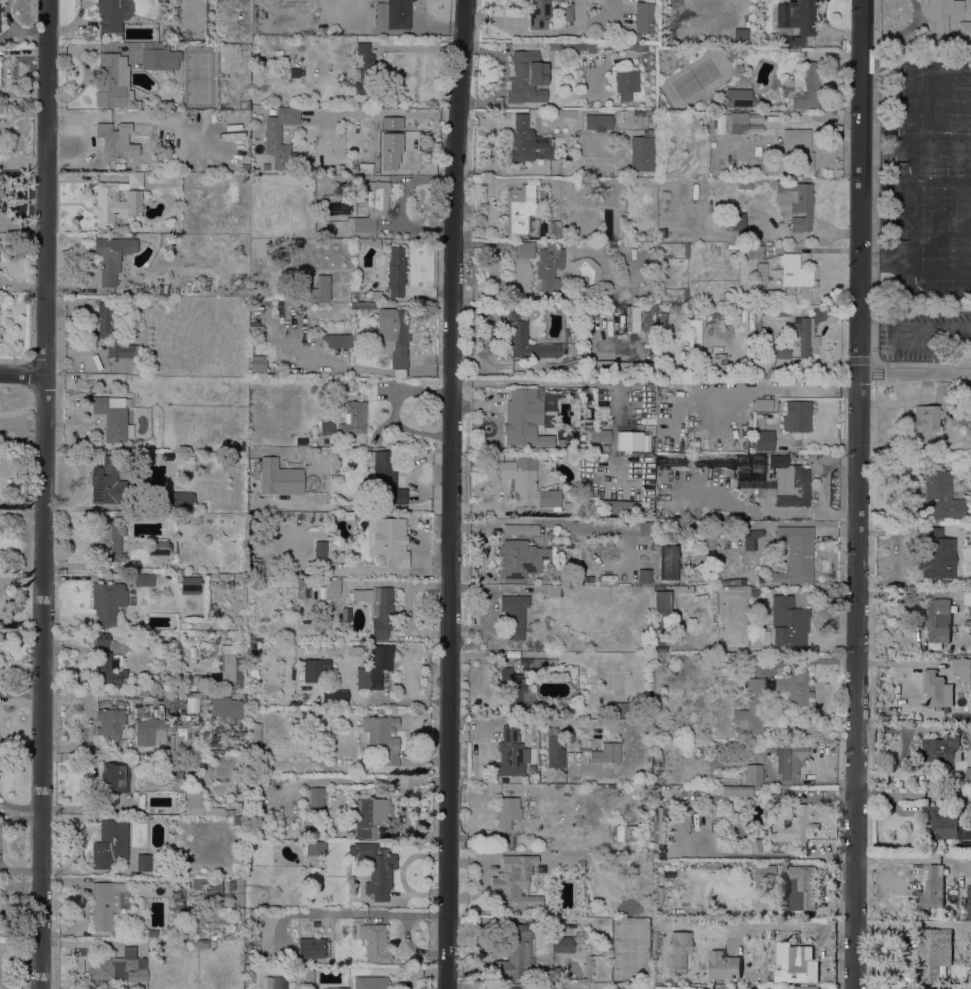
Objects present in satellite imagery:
building: (943, 12)
building: (538, 13)
building: (393, 14)
building: (568, 14)
building: (112, 15)
road: (877, 16)
building: (643, 18)
building: (794, 19)
building: (964, 28)
building: (739, 35)
building: (636, 37)
building: (798, 41)
building: (553, 46)
building: (612, 46)
building: (581, 47)
building: (637, 47)
building: (159, 57)
building: (362, 67)
building: (295, 72)
park: (912, 77)
building: (526, 78)
park: (963, 78)
building: (113, 82)
building: (625, 84)
building: (805, 86)
building: (738, 98)
track: (938, 101)
building: (661, 106)
building: (828, 106)
building: (638, 113)
building: (597, 121)
building: (736, 123)
park: (912, 124)
park: (963, 125)
building: (279, 136)
building: (116, 141)
building: (527, 141)
building: (798, 146)
building: (389, 151)
building: (643, 151)
building: (756, 153)
park: (930, 159)
park: (958, 159)
park: (901, 163)
building: (119, 167)
building: (135, 179)
building: (743, 185)
building: (0, 190)
road: (875, 192)
building: (316, 196)
park: (905, 197)
park: (933, 198)
building: (795, 203)
building: (113, 204)
building: (371, 204)
building: (527, 215)
building: (734, 221)
building: (622, 228)
building: (370, 242)
park: (900, 242)
building: (611, 248)
building: (685, 250)
building: (755, 251)
building: (632, 254)
building: (112, 257)
building: (543, 263)
park: (932, 270)
building: (794, 271)
building: (396, 272)
building: (761, 273)
building: (318, 290)
building: (138, 291)
building: (374, 294)
building: (685, 295)
building: (112, 331)
road: (914, 332)
building: (389, 335)
building: (802, 335)
parking lot: (921, 335)
road: (934, 335)
building: (525, 337)
building: (694, 338)
building: (336, 341)
building: (776, 352)
road: (877, 360)
building: (257, 364)
road: (929, 365)
building: (586, 369)
building: (605, 369)
building: (634, 369)
road: (876, 370)
road: (22, 373)
building: (518, 374)
road: (915, 375)
building: (961, 391)
building: (763, 405)
building: (963, 413)
building: (796, 416)
building: (113, 418)
building: (353, 418)
building: (524, 419)
building: (923, 421)
building: (326, 428)
building: (599, 435)
building: (378, 437)
building: (763, 440)
building: (304, 443)
building: (194, 458)
building: (670, 463)
building: (712, 463)
building: (614, 464)
building: (604, 465)
building: (751, 465)
building: (278, 478)
building: (385, 478)
building: (790, 482)
building: (108, 483)
building: (520, 484)
building: (940, 493)
road: (42, 494)
road: (450, 494)
road: (857, 494)
building: (180, 500)
building: (659, 524)
building: (520, 529)
building: (644, 529)
building: (388, 541)
building: (750, 541)
building: (108, 543)
building: (731, 544)
building: (157, 548)
building: (320, 550)
building: (796, 551)
building: (570, 555)
building: (935, 555)
building: (520, 558)
building: (669, 562)
building: (644, 576)
building: (583, 579)
building: (589, 579)
building: (143, 580)
building: (189, 585)
building: (332, 589)
building: (684, 590)
building: (555, 591)
building: (107, 602)
building: (660, 603)
building: (211, 606)
building: (378, 610)
building: (514, 615)
building: (659, 621)
building: (787, 622)
building: (937, 622)
building: (970, 623)
building: (205, 645)
road: (871, 651)
building: (536, 663)
building: (105, 665)
building: (229, 667)
building: (374, 667)
building: (962, 668)
building: (311, 671)
building: (198, 680)
building: (794, 688)
building: (935, 689)
building: (515, 691)
building: (341, 698)
building: (225, 708)
building: (618, 710)
building: (750, 710)
building: (163, 712)
building: (646, 714)
building: (109, 722)
building: (147, 730)
building: (256, 733)
building: (568, 736)
building: (381, 738)
building: (719, 743)
building: (942, 748)
building: (554, 752)
building: (511, 753)
building: (605, 754)
building: (789, 758)
building: (171, 768)
building: (968, 773)
building: (753, 775)
building: (113, 778)
building: (571, 781)
building: (724, 791)
building: (773, 794)
building: (316, 797)
building: (788, 797)
building: (140, 801)
building: (192, 804)
building: (507, 812)
building: (371, 817)
building: (729, 817)
building: (791, 825)
building: (943, 825)
building: (657, 826)
building: (624, 833)
building: (109, 844)
building: (752, 844)
building: (313, 848)
building: (143, 862)
building: (710, 865)
building: (376, 869)
building: (763, 873)
building: (515, 883)
building: (231, 885)
building: (933, 887)
building: (799, 889)
building: (212, 890)
building: (179, 894)
building: (188, 897)
building: (657, 900)
building: (107, 903)
building: (231, 908)
road: (352, 913)
building: (253, 914)
building: (579, 914)
road: (912, 919)
building: (677, 921)
building: (695, 922)
building: (151, 933)
building: (374, 942)
building: (565, 942)
building: (170, 943)
building: (202, 944)
building: (657, 946)
building: (310, 948)
road: (412, 948)
building: (581, 948)
building: (514, 951)
building: (678, 951)
building: (933, 952)
building: (796, 964)
building: (723, 965)
building: (118, 966)
road: (421, 971)
building: (249, 973)
building: (306, 976)
building: (276, 982)
building: (371, 983)
building: (515, 987)
building: (701, 987)
building: (804, 987)
road: (868, 987)
building: (932, 987)
building: (965, 987)
building: (337, 988)
building: (660, 988)
building: (675, 988)
building: (689, 988)

